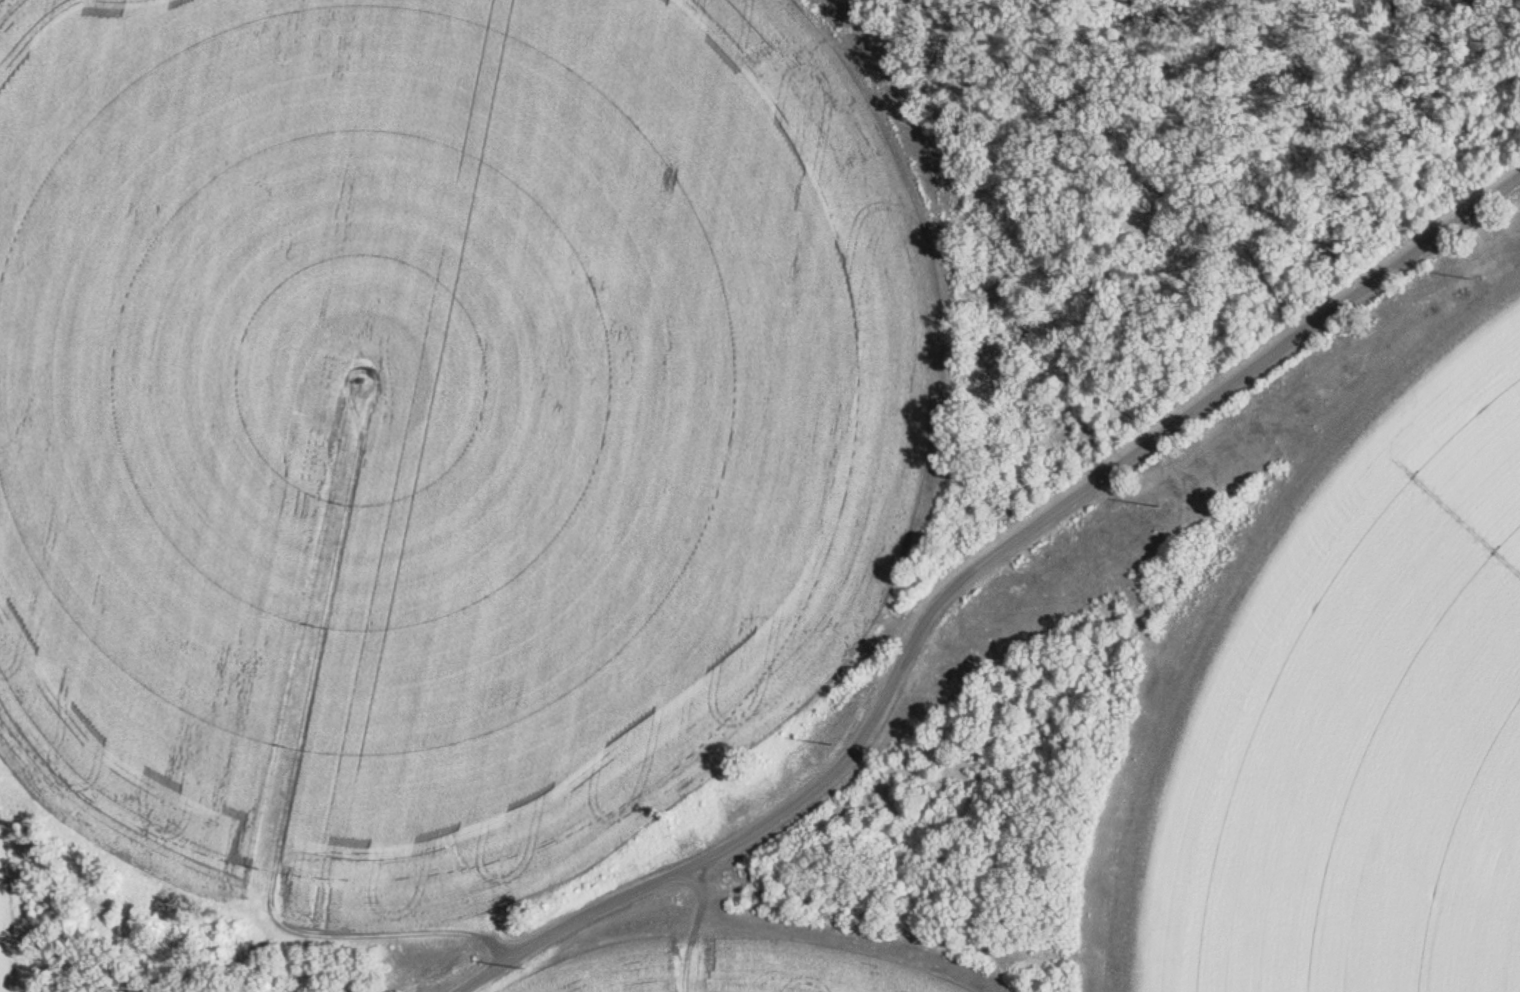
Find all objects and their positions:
wastewater plant: (702, 537)
road: (969, 572)

